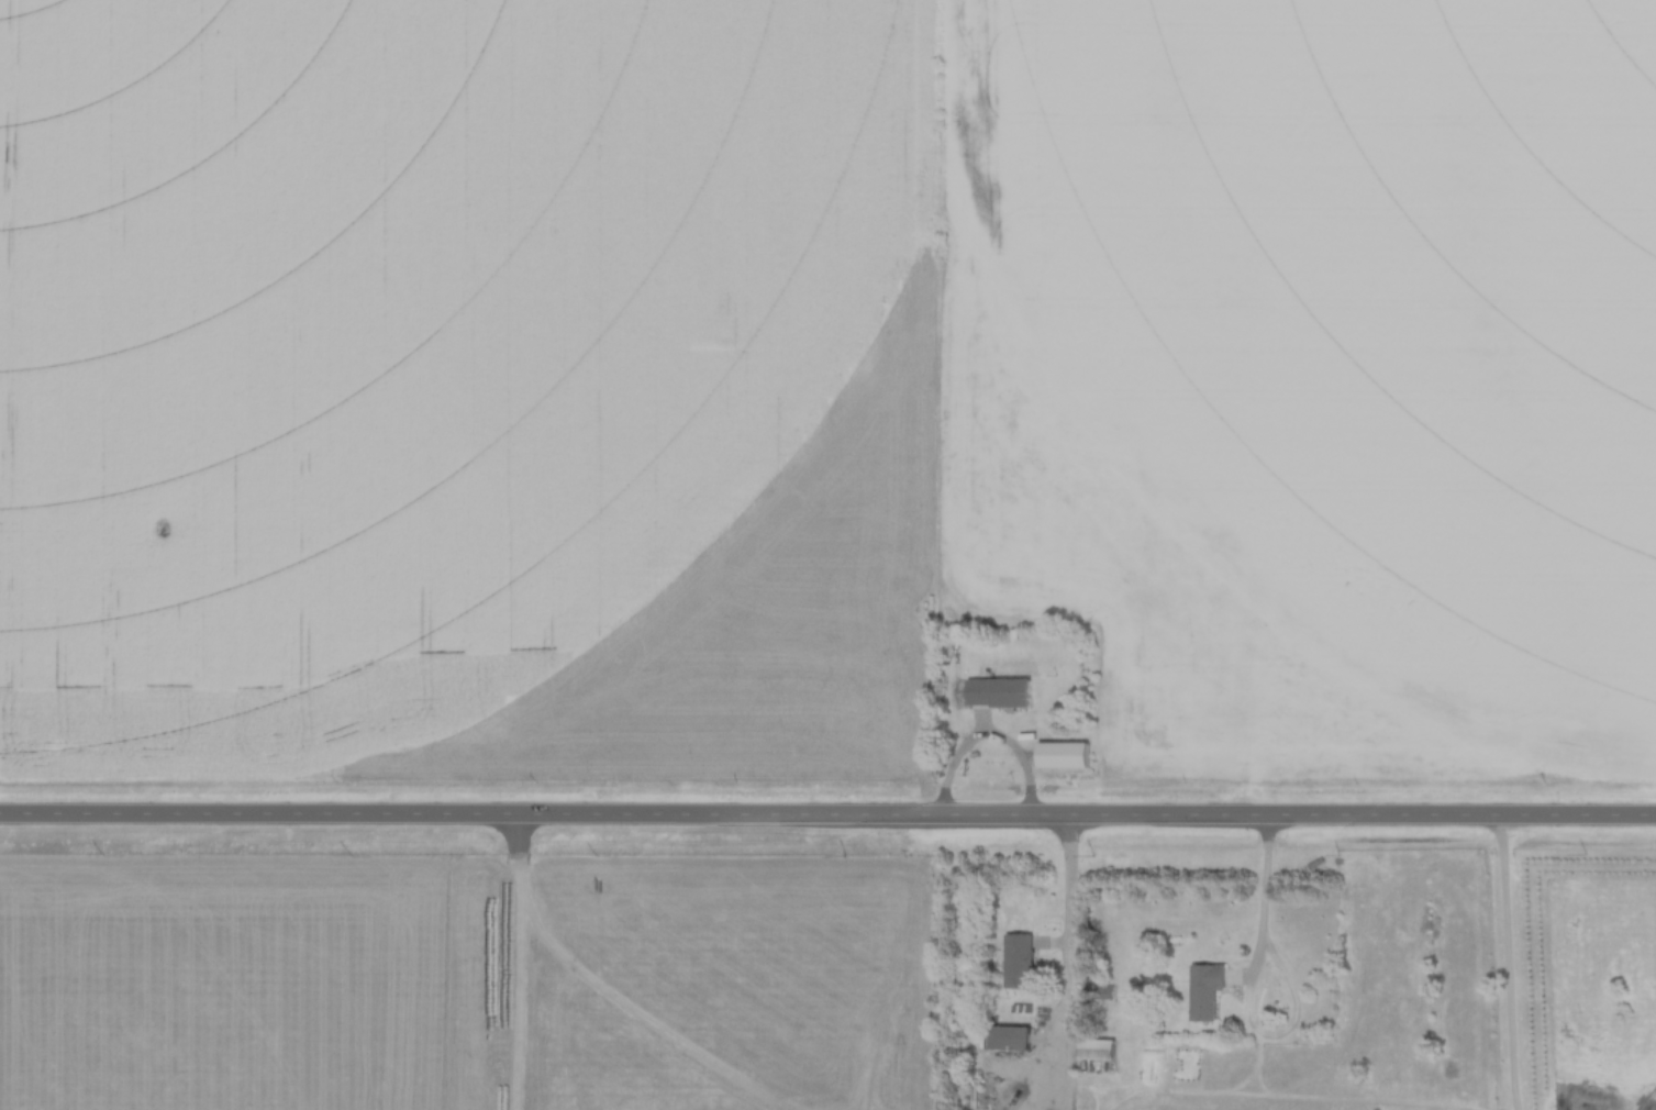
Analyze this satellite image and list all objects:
building: (999, 692)
road: (990, 736)
road: (827, 811)
road: (1266, 897)
road: (519, 961)
road: (1508, 961)
building: (1019, 962)
road: (1074, 962)
building: (1204, 991)
building: (1009, 1040)
building: (1097, 1050)

